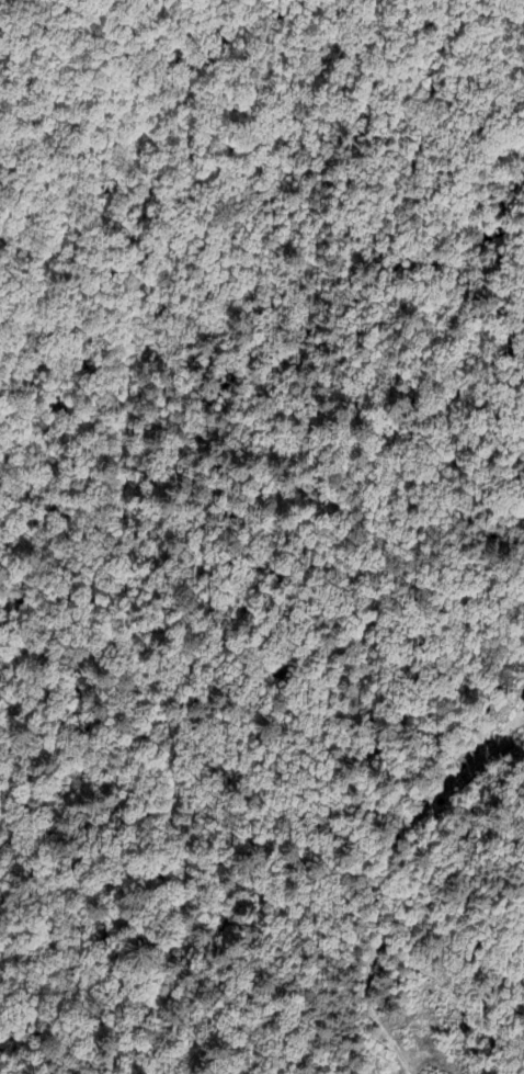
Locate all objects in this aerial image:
building: (523, 704)
road: (379, 883)

